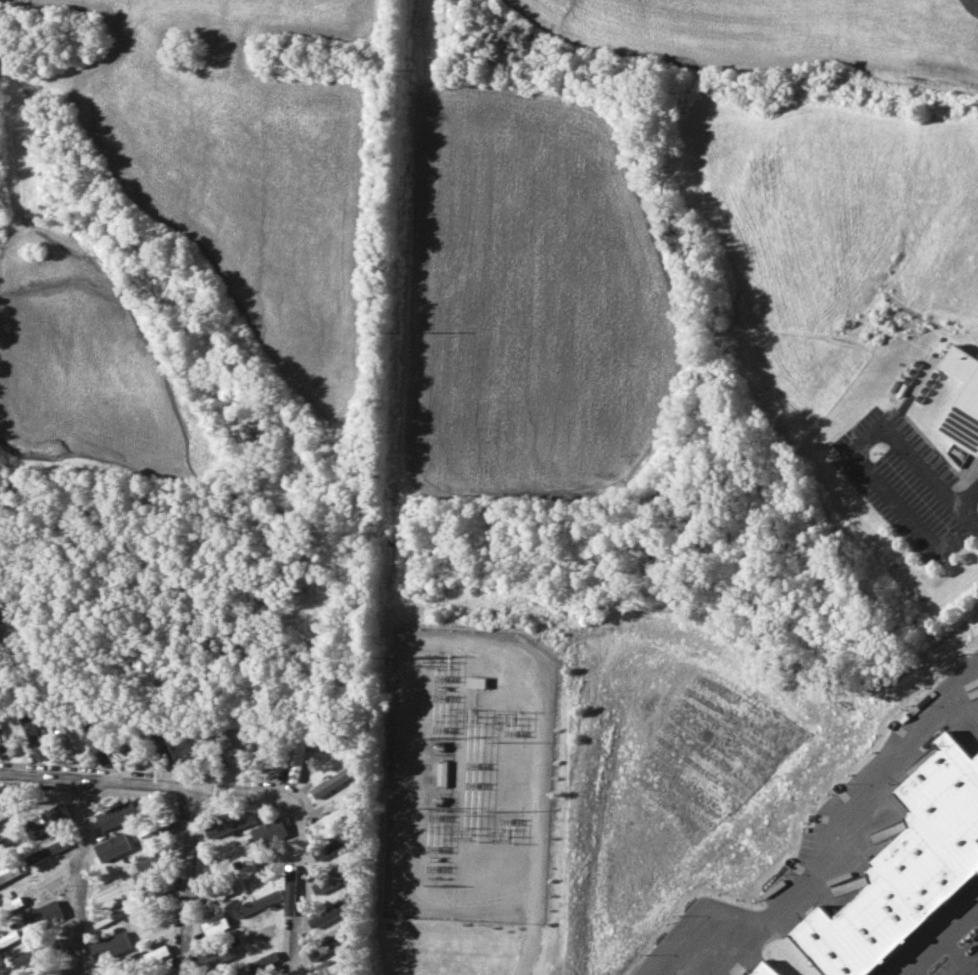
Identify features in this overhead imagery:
building: (962, 399)
road: (851, 451)
road: (969, 504)
road: (974, 528)
building: (477, 681)
building: (927, 756)
building: (298, 759)
power substation: (473, 776)
road: (234, 789)
building: (949, 798)
building: (12, 808)
building: (232, 823)
building: (158, 827)
road: (824, 854)
building: (150, 864)
building: (919, 875)
road: (85, 877)
road: (188, 881)
building: (331, 881)
building: (212, 893)
building: (11, 906)
building: (214, 923)
building: (875, 924)
building: (10, 938)
road: (942, 943)
building: (832, 944)
building: (110, 945)
road: (529, 949)
building: (216, 955)
building: (28, 956)
road: (963, 956)
parking lot: (958, 958)
building: (258, 962)
building: (328, 968)
building: (765, 969)
road: (918, 971)

